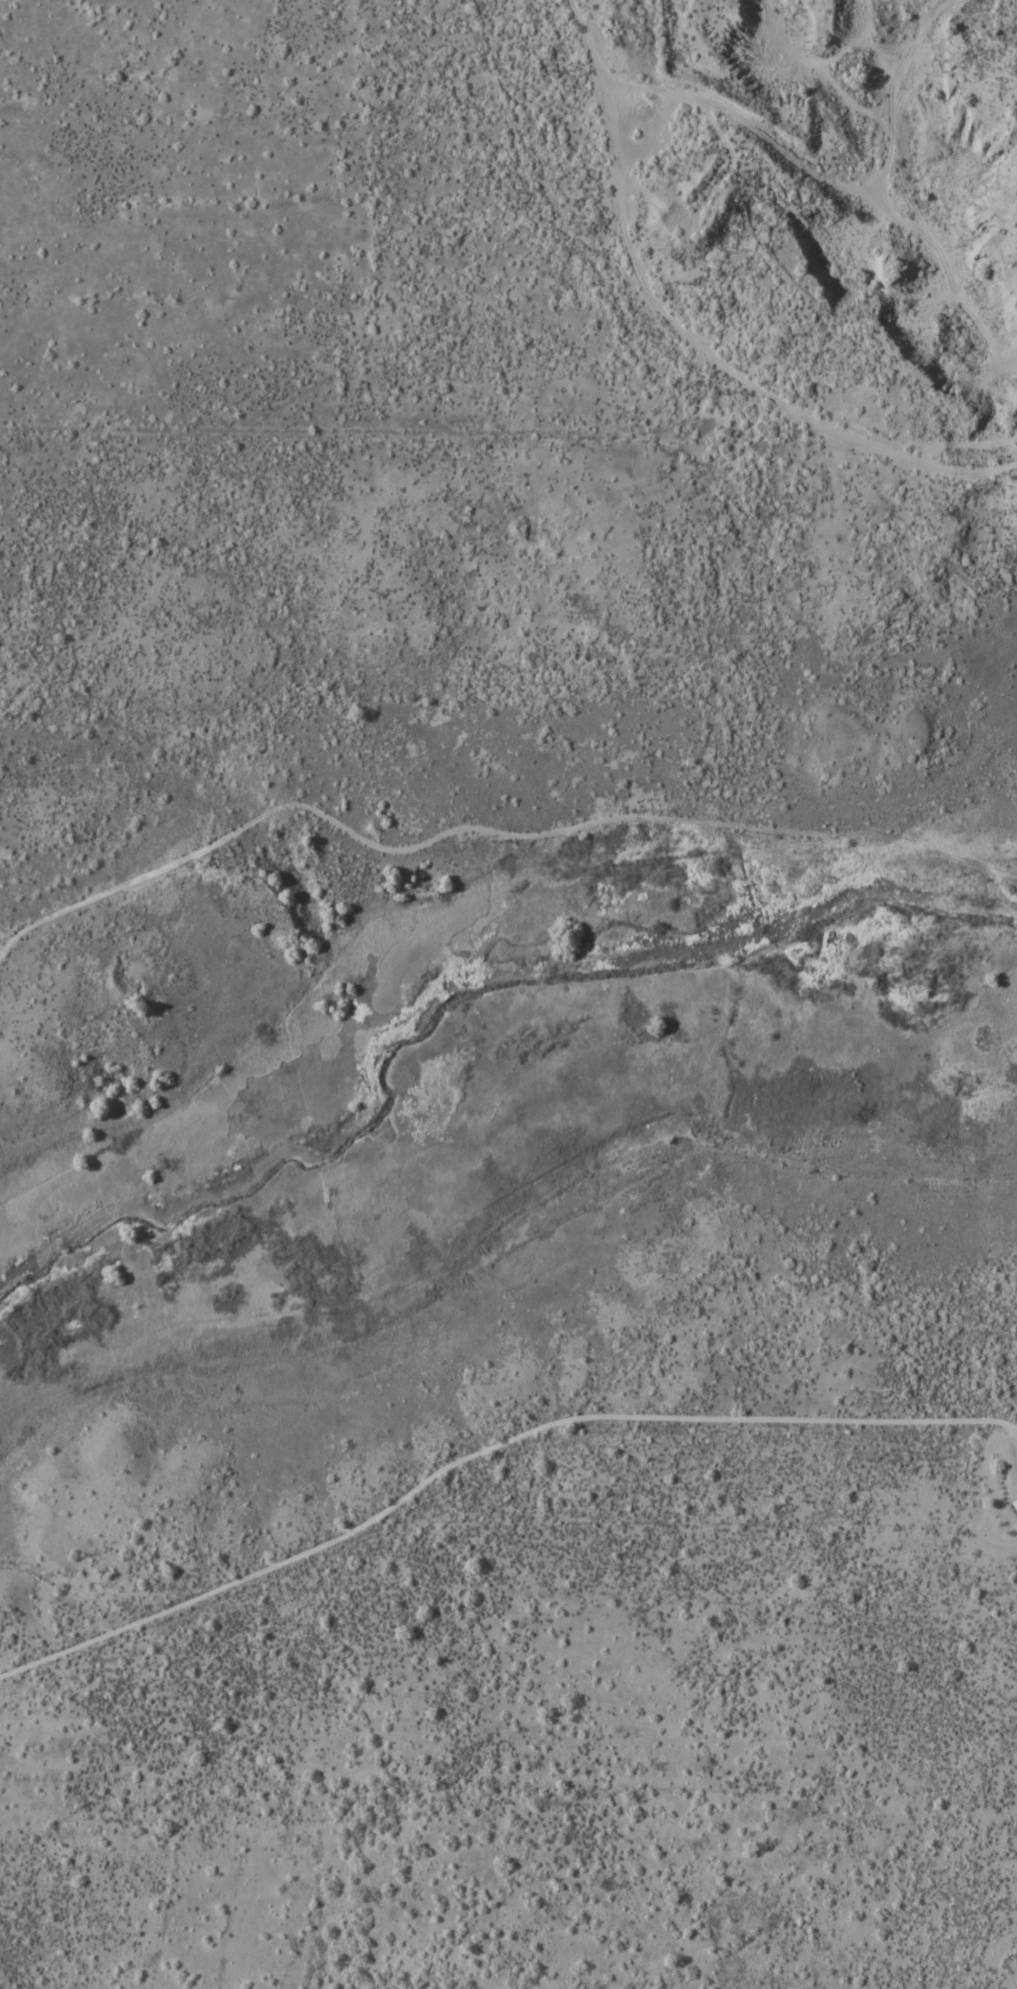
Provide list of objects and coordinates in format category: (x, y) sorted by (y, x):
road: (476, 1457)
building: (1015, 1504)

